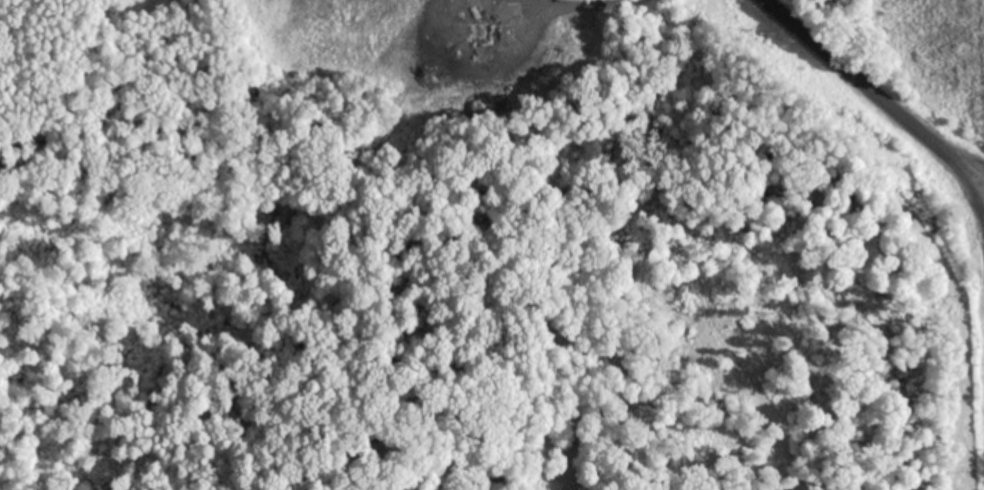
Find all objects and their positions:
road: (896, 98)
road: (981, 208)
road: (981, 219)

